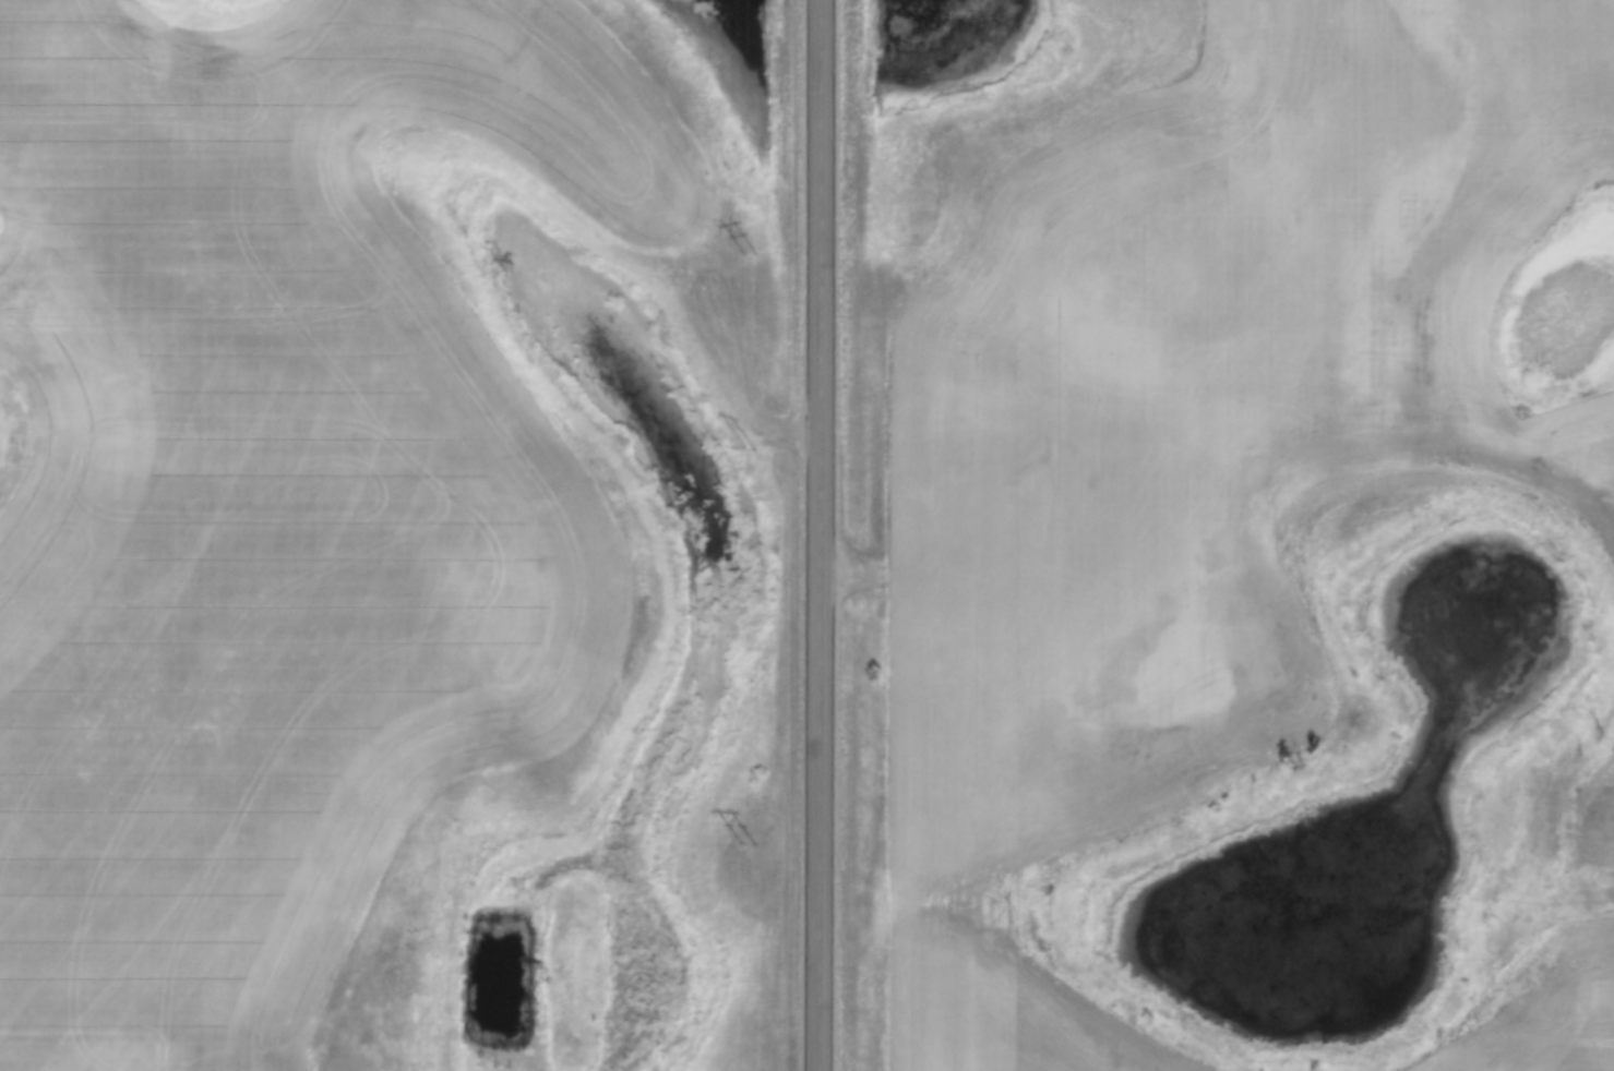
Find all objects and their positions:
road: (818, 534)

